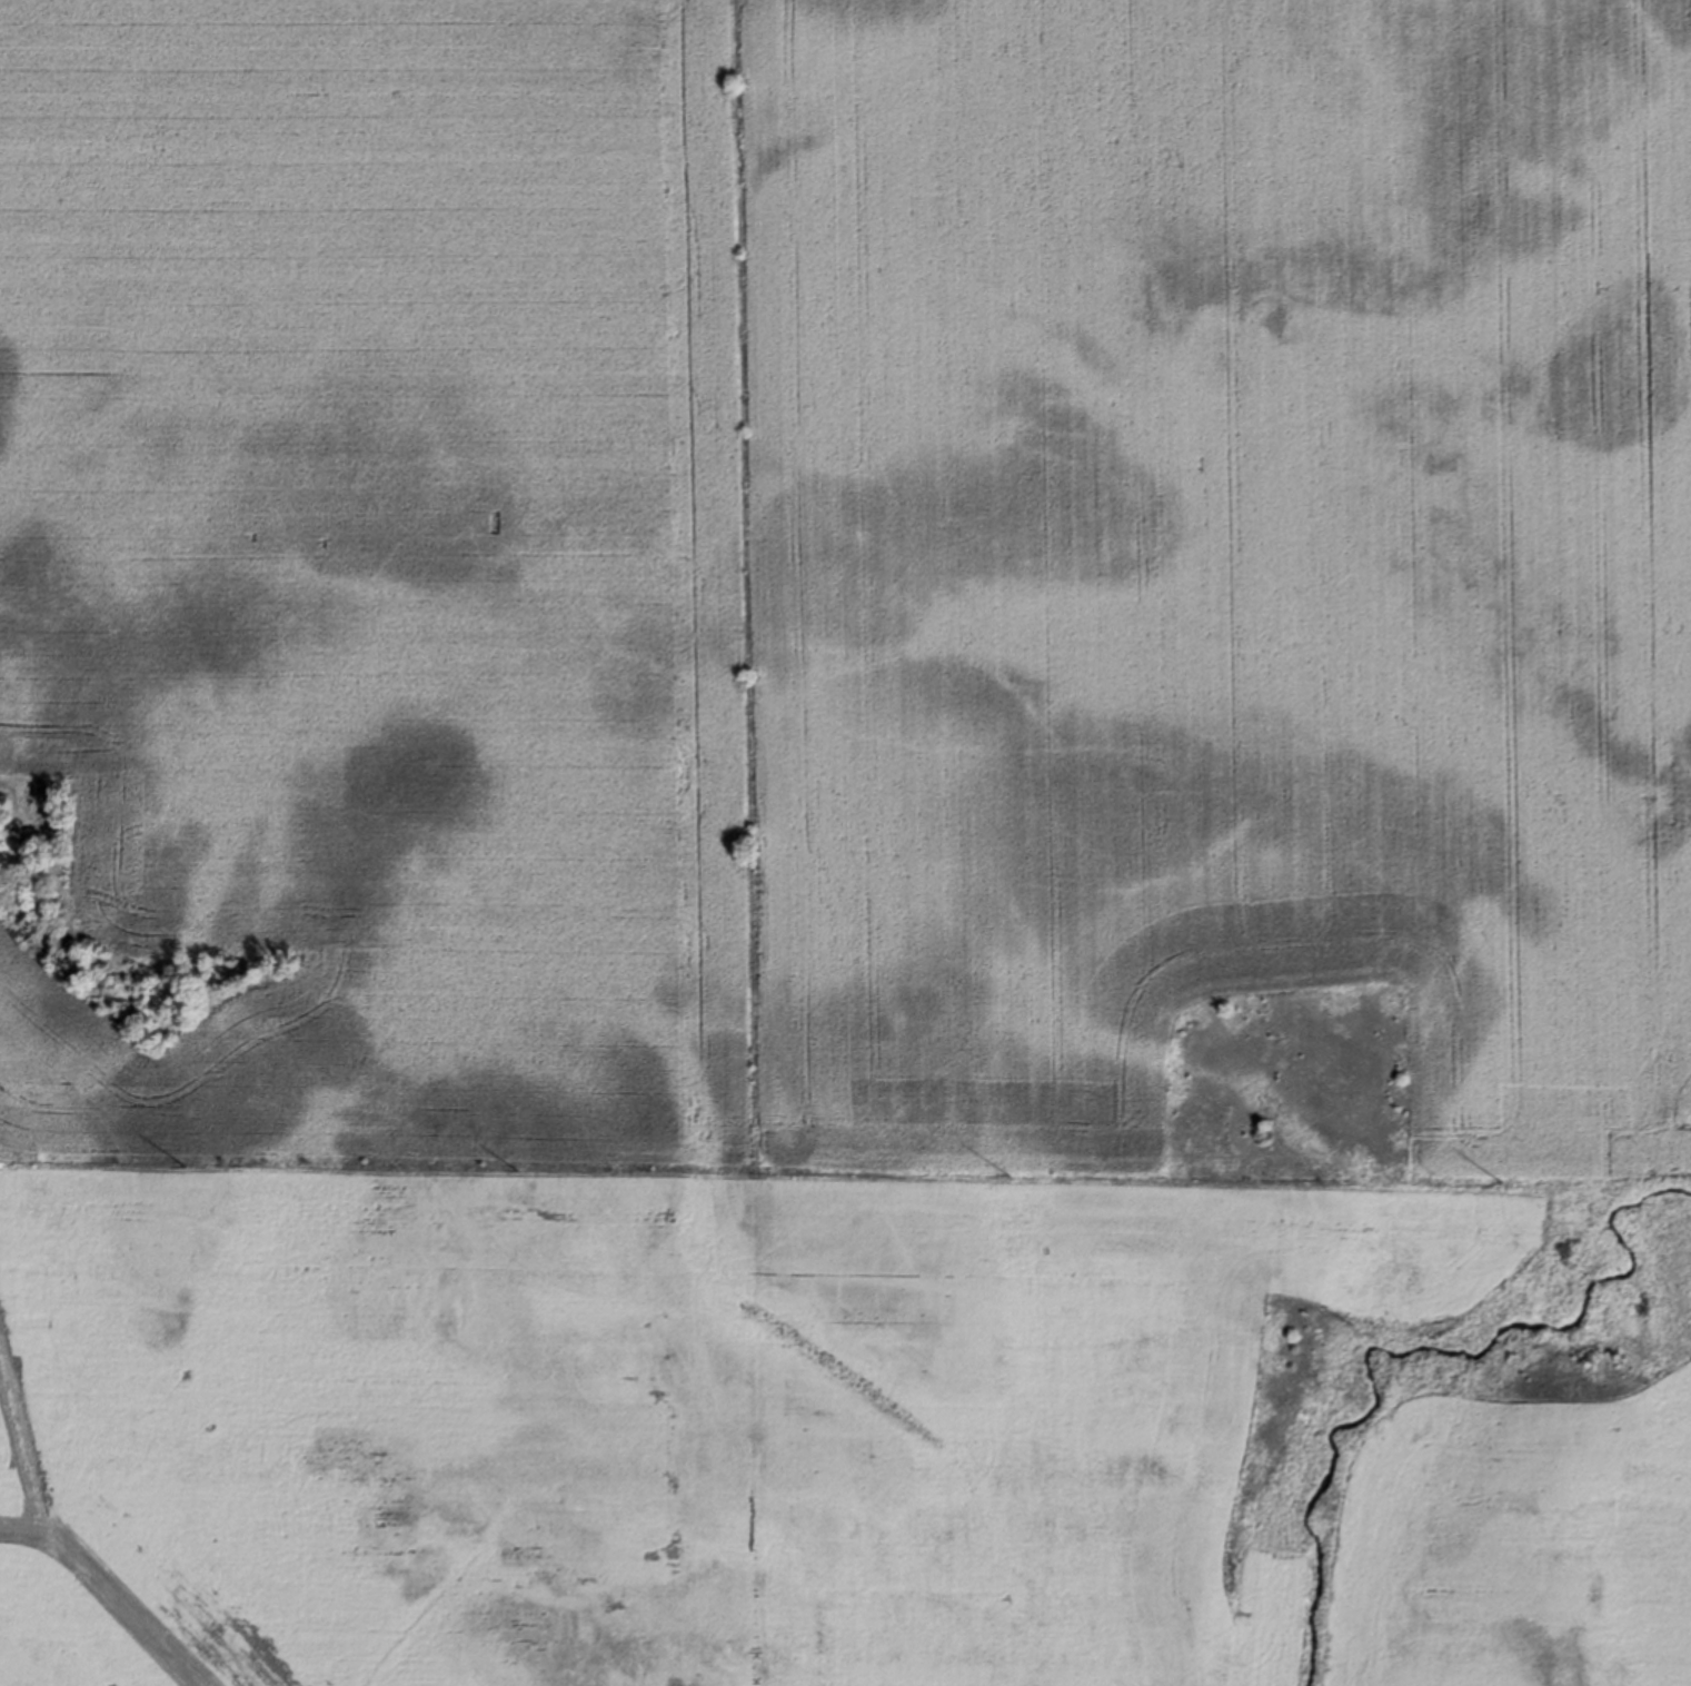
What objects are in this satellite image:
power tower: (185, 1163)
power tower: (520, 1169)
power tower: (1009, 1172)
power tower: (1502, 1181)

